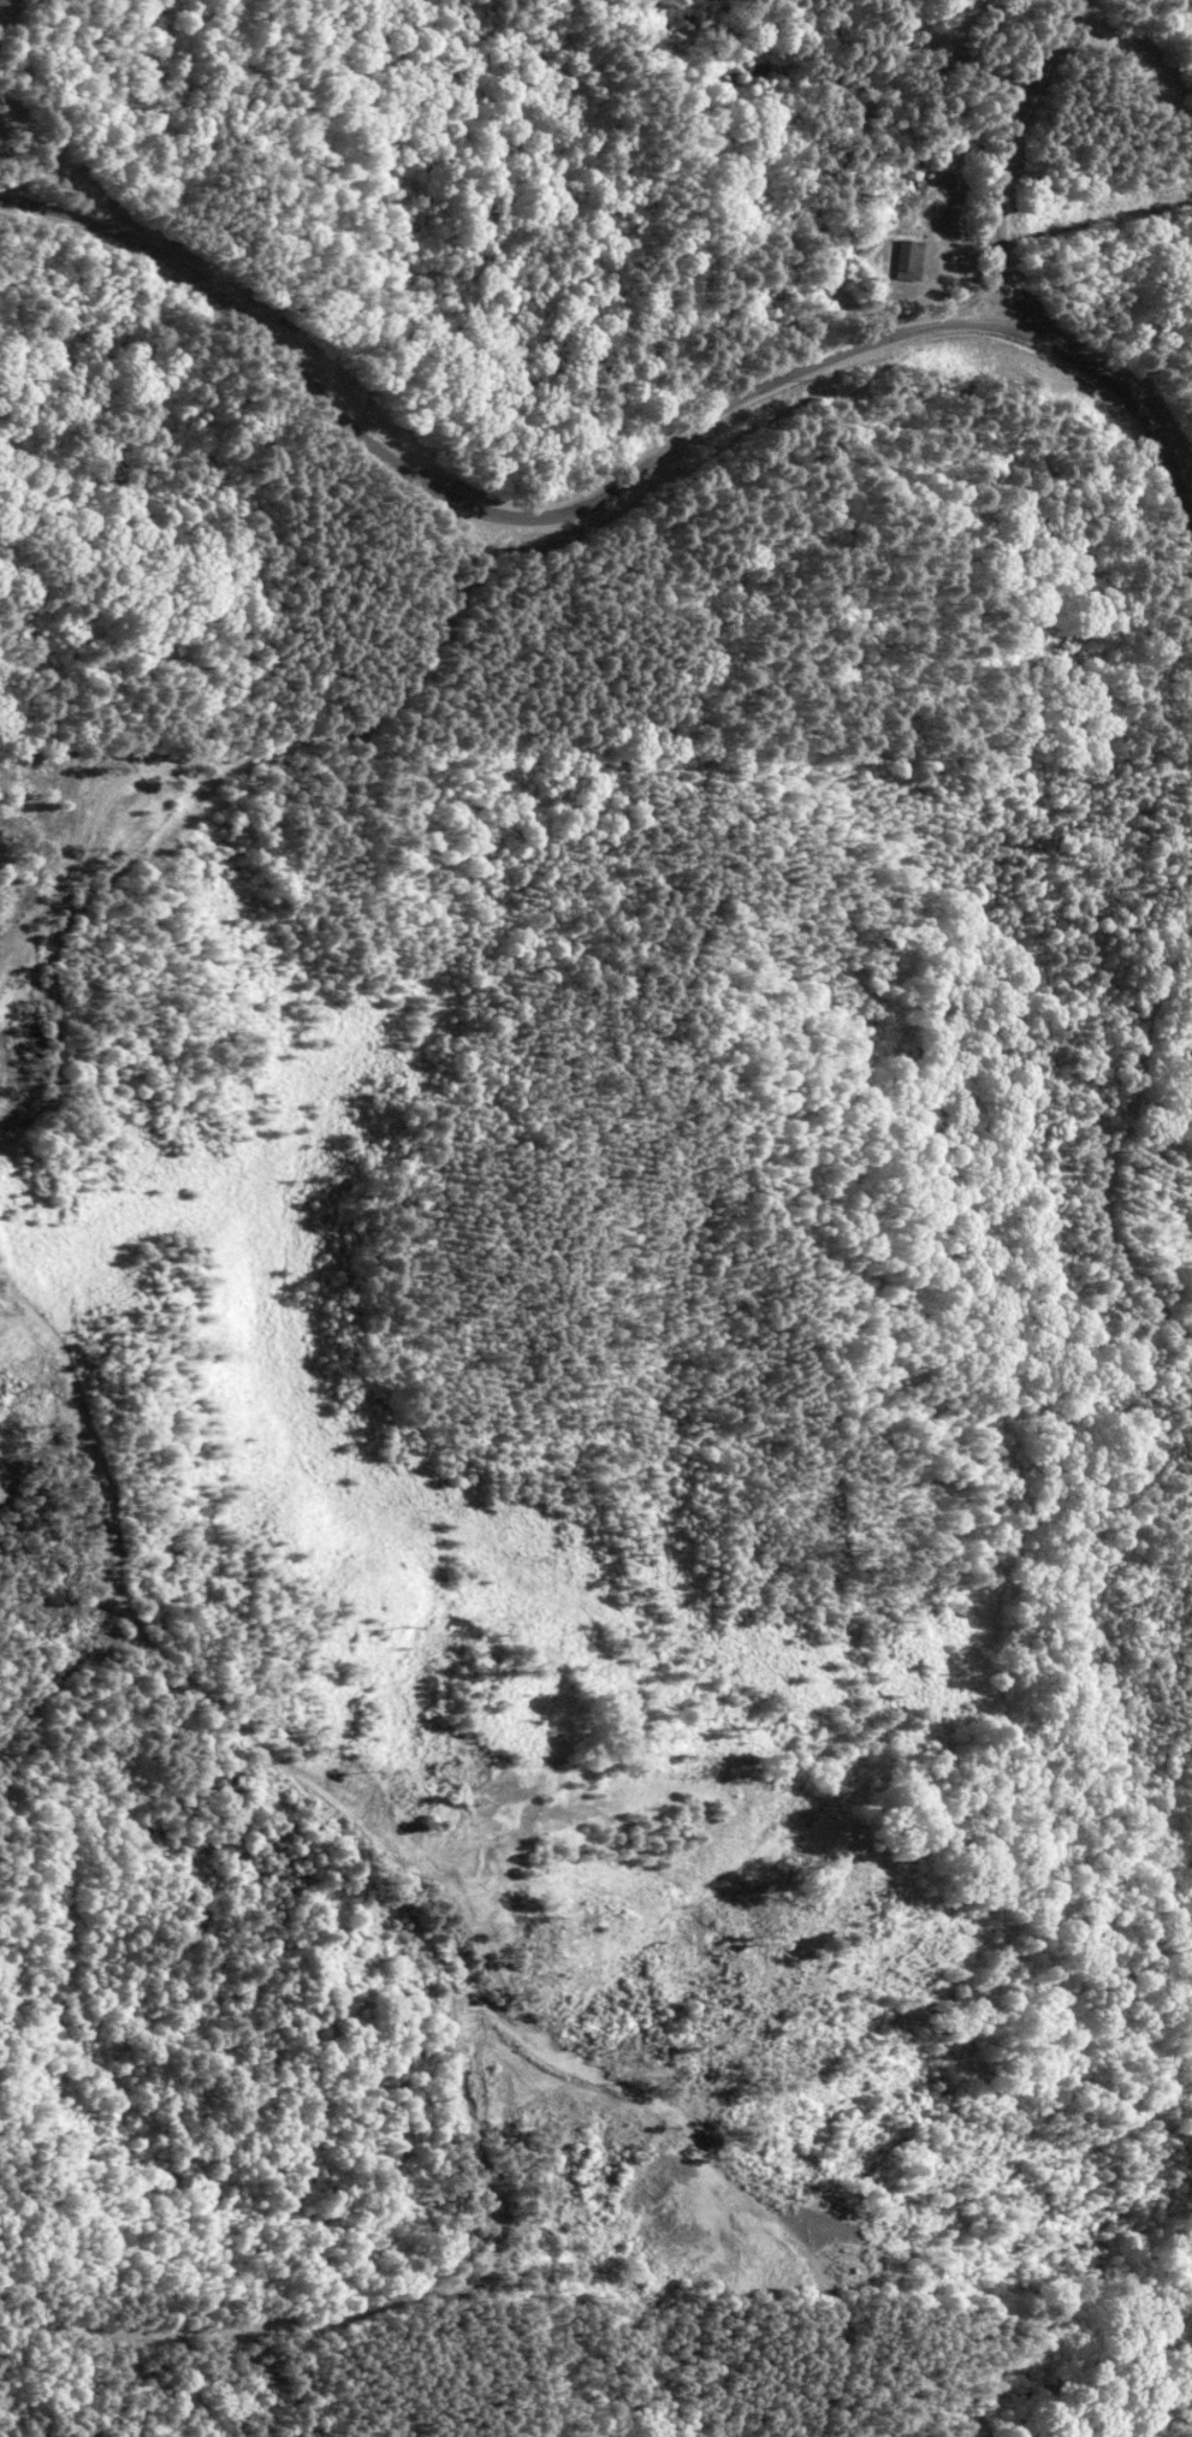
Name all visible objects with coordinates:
road: (1063, 158)
building: (903, 260)
road: (617, 482)
road: (349, 664)

